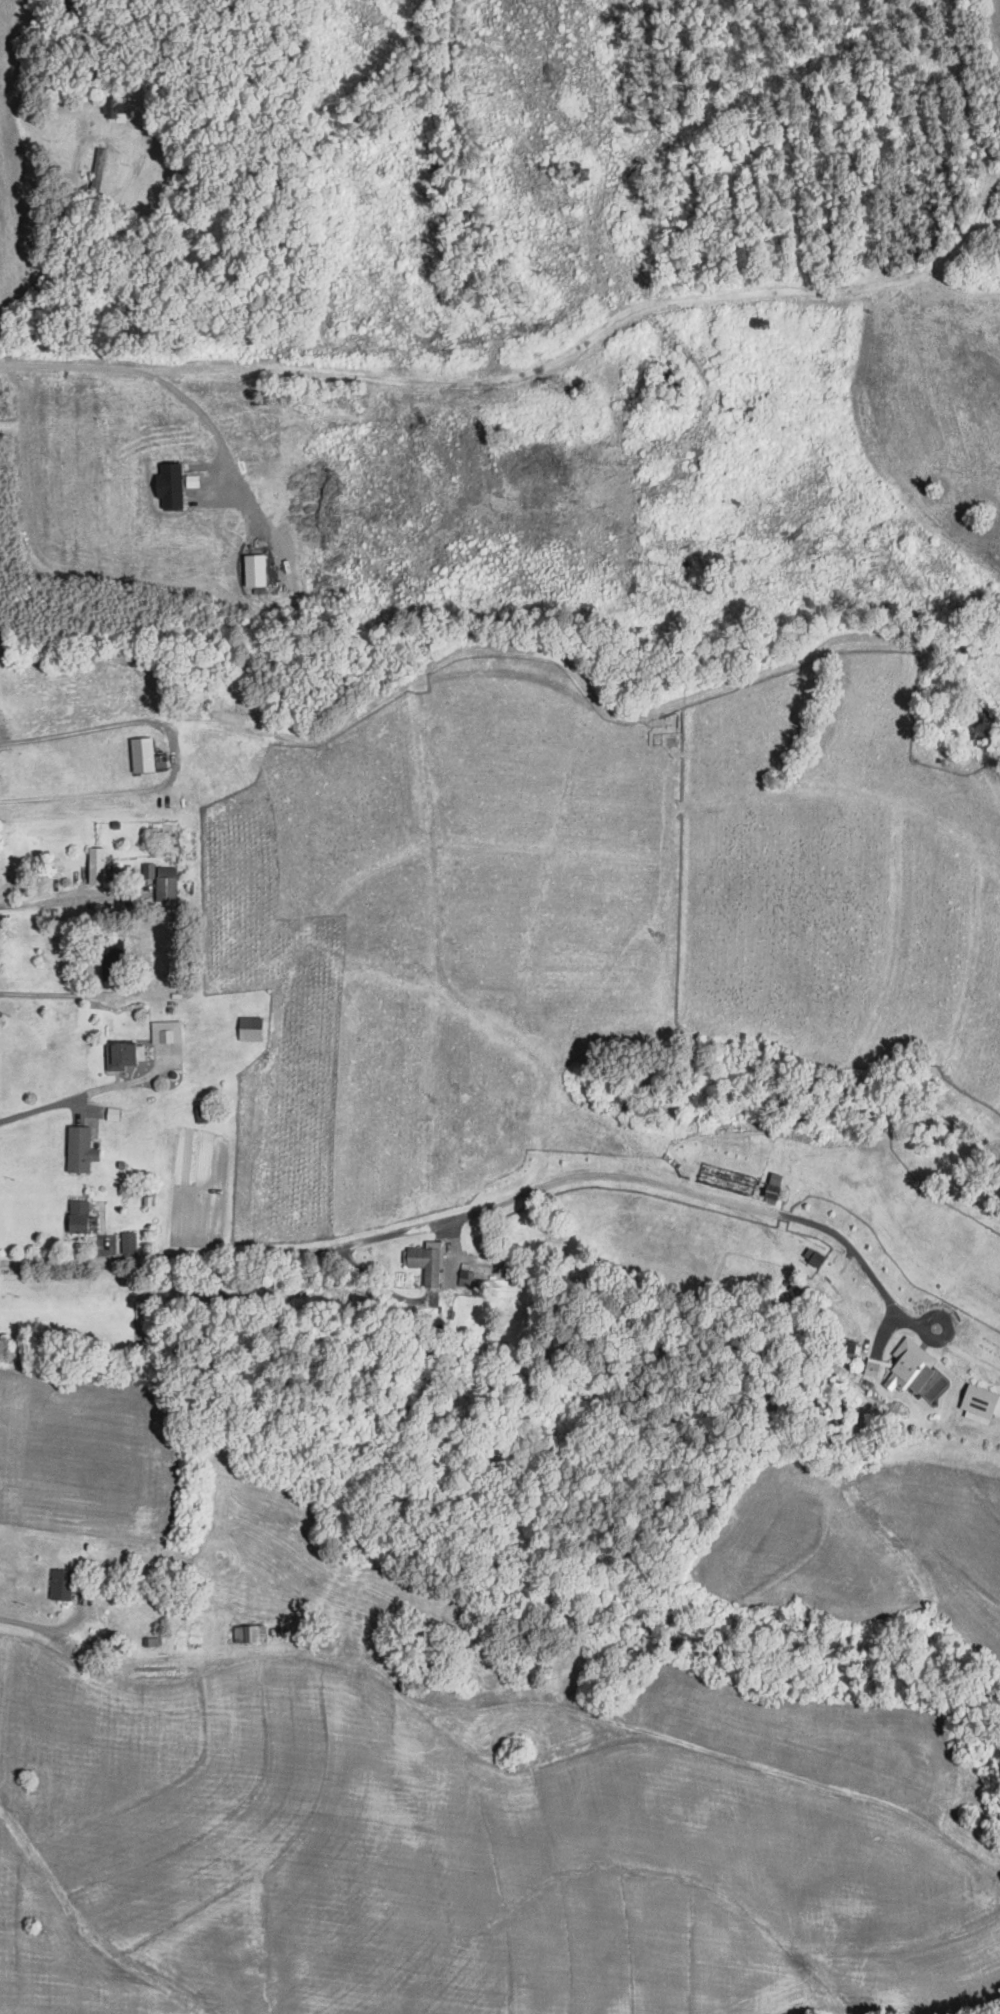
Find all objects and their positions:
building: (115, 109)
building: (99, 168)
road: (534, 368)
building: (666, 381)
road: (210, 420)
road: (77, 728)
road: (117, 788)
building: (97, 866)
building: (166, 884)
road: (45, 901)
building: (112, 960)
road: (64, 993)
building: (250, 1029)
building: (166, 1032)
building: (120, 1057)
road: (89, 1091)
building: (80, 1150)
building: (772, 1192)
road: (500, 1202)
building: (78, 1217)
building: (128, 1243)
building: (817, 1259)
building: (427, 1262)
road: (974, 1356)
building: (909, 1360)
building: (979, 1402)
building: (61, 1585)
road: (50, 1631)
building: (249, 1635)
building: (151, 1643)
road: (558, 1707)

